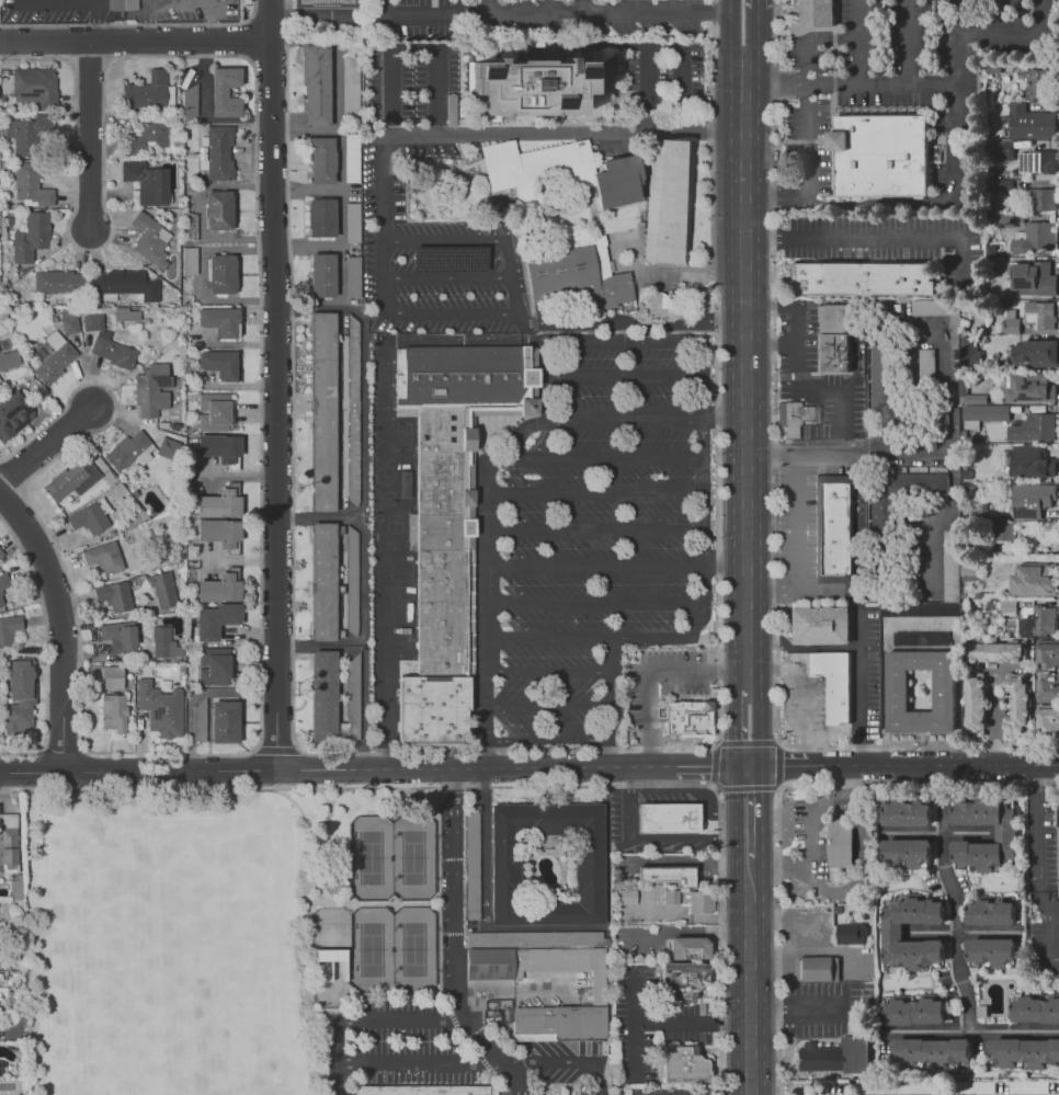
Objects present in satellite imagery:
road: (73, 1)
building: (323, 3)
road: (755, 3)
building: (122, 4)
road: (178, 4)
road: (487, 7)
road: (583, 7)
road: (379, 8)
building: (813, 13)
road: (500, 14)
road: (272, 21)
road: (729, 34)
road: (755, 38)
road: (136, 42)
road: (861, 42)
road: (907, 42)
road: (414, 48)
road: (663, 48)
road: (811, 62)
building: (1036, 82)
building: (351, 83)
road: (776, 84)
road: (881, 84)
building: (34, 85)
building: (317, 85)
building: (533, 85)
road: (337, 89)
building: (148, 91)
building: (224, 91)
building: (189, 102)
building: (1030, 122)
road: (567, 132)
building: (26, 133)
road: (89, 135)
building: (147, 136)
building: (1000, 150)
building: (216, 151)
building: (352, 157)
building: (878, 158)
building: (323, 159)
building: (1035, 164)
building: (561, 172)
building: (146, 181)
building: (30, 185)
building: (998, 186)
road: (954, 187)
road: (339, 191)
road: (777, 193)
building: (668, 203)
building: (1044, 203)
building: (218, 209)
building: (321, 216)
road: (382, 219)
building: (353, 223)
building: (1029, 232)
building: (30, 236)
road: (874, 237)
building: (149, 239)
road: (444, 241)
road: (337, 247)
building: (448, 259)
building: (189, 260)
building: (220, 273)
building: (572, 273)
building: (322, 274)
building: (354, 276)
road: (446, 276)
road: (511, 276)
building: (1043, 276)
building: (859, 278)
building: (58, 282)
building: (124, 283)
building: (1009, 292)
building: (656, 304)
road: (339, 306)
building: (933, 307)
building: (126, 313)
building: (1040, 316)
building: (218, 319)
building: (832, 319)
building: (91, 320)
road: (560, 322)
building: (68, 323)
building: (1011, 327)
building: (994, 331)
road: (677, 341)
road: (770, 344)
building: (112, 350)
building: (968, 350)
building: (831, 352)
building: (1035, 353)
building: (54, 357)
building: (8, 360)
building: (219, 363)
building: (925, 365)
road: (796, 374)
road: (620, 375)
road: (744, 377)
building: (882, 379)
road: (953, 386)
building: (1032, 387)
building: (150, 389)
road: (276, 407)
road: (540, 407)
building: (980, 407)
building: (355, 409)
building: (214, 411)
building: (323, 411)
building: (13, 413)
building: (794, 413)
building: (943, 417)
road: (620, 421)
road: (722, 421)
building: (1034, 427)
park: (400, 436)
road: (45, 441)
building: (219, 447)
road: (363, 447)
building: (128, 449)
road: (849, 452)
road: (605, 459)
building: (1032, 463)
road: (382, 477)
building: (71, 479)
building: (914, 483)
road: (594, 492)
building: (1034, 499)
building: (219, 502)
building: (87, 517)
building: (449, 517)
building: (879, 517)
road: (938, 517)
road: (595, 528)
road: (703, 531)
building: (839, 531)
building: (219, 532)
building: (1000, 532)
parking lot: (597, 536)
road: (795, 545)
building: (1, 552)
building: (952, 556)
building: (103, 557)
road: (724, 557)
road: (595, 564)
building: (971, 568)
building: (1035, 579)
building: (324, 580)
building: (354, 582)
building: (218, 588)
building: (161, 589)
road: (823, 590)
building: (3, 593)
building: (113, 595)
road: (594, 602)
road: (487, 607)
building: (1009, 609)
building: (215, 619)
building: (921, 620)
building: (1043, 620)
building: (816, 624)
road: (60, 626)
building: (8, 628)
building: (118, 635)
road: (547, 637)
road: (667, 637)
building: (920, 638)
building: (163, 642)
building: (337, 648)
building: (997, 651)
building: (1049, 655)
building: (215, 666)
road: (547, 671)
road: (653, 675)
building: (112, 677)
building: (829, 681)
road: (607, 688)
road: (858, 688)
building: (1048, 688)
building: (921, 691)
building: (323, 695)
building: (19, 696)
road: (799, 696)
building: (1018, 697)
building: (354, 698)
road: (546, 705)
building: (976, 705)
building: (160, 708)
building: (113, 711)
road: (993, 716)
building: (688, 718)
building: (197, 720)
building: (1048, 720)
building: (224, 721)
road: (761, 727)
road: (735, 729)
road: (546, 740)
road: (715, 743)
road: (606, 755)
road: (903, 766)
traffic signals: (749, 769)
road: (374, 773)
road: (673, 784)
road: (5, 790)
road: (695, 790)
road: (749, 790)
road: (778, 800)
road: (628, 803)
building: (906, 814)
building: (668, 818)
road: (1036, 822)
road: (750, 824)
road: (937, 834)
building: (1005, 834)
building: (1058, 835)
road: (688, 836)
road: (810, 836)
building: (9, 841)
building: (841, 842)
road: (750, 846)
building: (909, 849)
park: (410, 858)
park: (369, 859)
road: (750, 863)
building: (474, 865)
building: (504, 869)
park: (160, 876)
building: (673, 876)
building: (332, 883)
building: (16, 888)
road: (439, 889)
building: (628, 897)
building: (672, 897)
road: (954, 899)
building: (703, 903)
building: (990, 912)
road: (547, 926)
park: (329, 929)
road: (691, 932)
building: (850, 932)
road: (305, 933)
building: (893, 934)
road: (963, 935)
building: (535, 938)
road: (456, 943)
park: (411, 946)
building: (687, 947)
park: (369, 948)
park: (286, 951)
building: (993, 953)
building: (329, 955)
building: (819, 969)
building: (684, 981)
road: (750, 981)
park: (329, 982)
park: (231, 988)
building: (600, 993)
building: (1035, 1007)
building: (912, 1010)
road: (365, 1016)
road: (452, 1018)
road: (668, 1024)
road: (975, 1033)
road: (466, 1040)
parking lot: (408, 1043)
road: (636, 1048)
building: (1024, 1051)
building: (925, 1052)
building: (859, 1054)
park: (127, 1057)
road: (482, 1060)
building: (821, 1060)
road: (419, 1061)
road: (567, 1061)
building: (684, 1064)
parking lot: (551, 1067)
building: (0, 1069)
park: (231, 1073)
road: (491, 1083)
building: (968, 1085)
building: (903, 1086)
building: (1028, 1086)
parking lot: (341, 1088)
building: (423, 1090)
road: (569, 1091)

